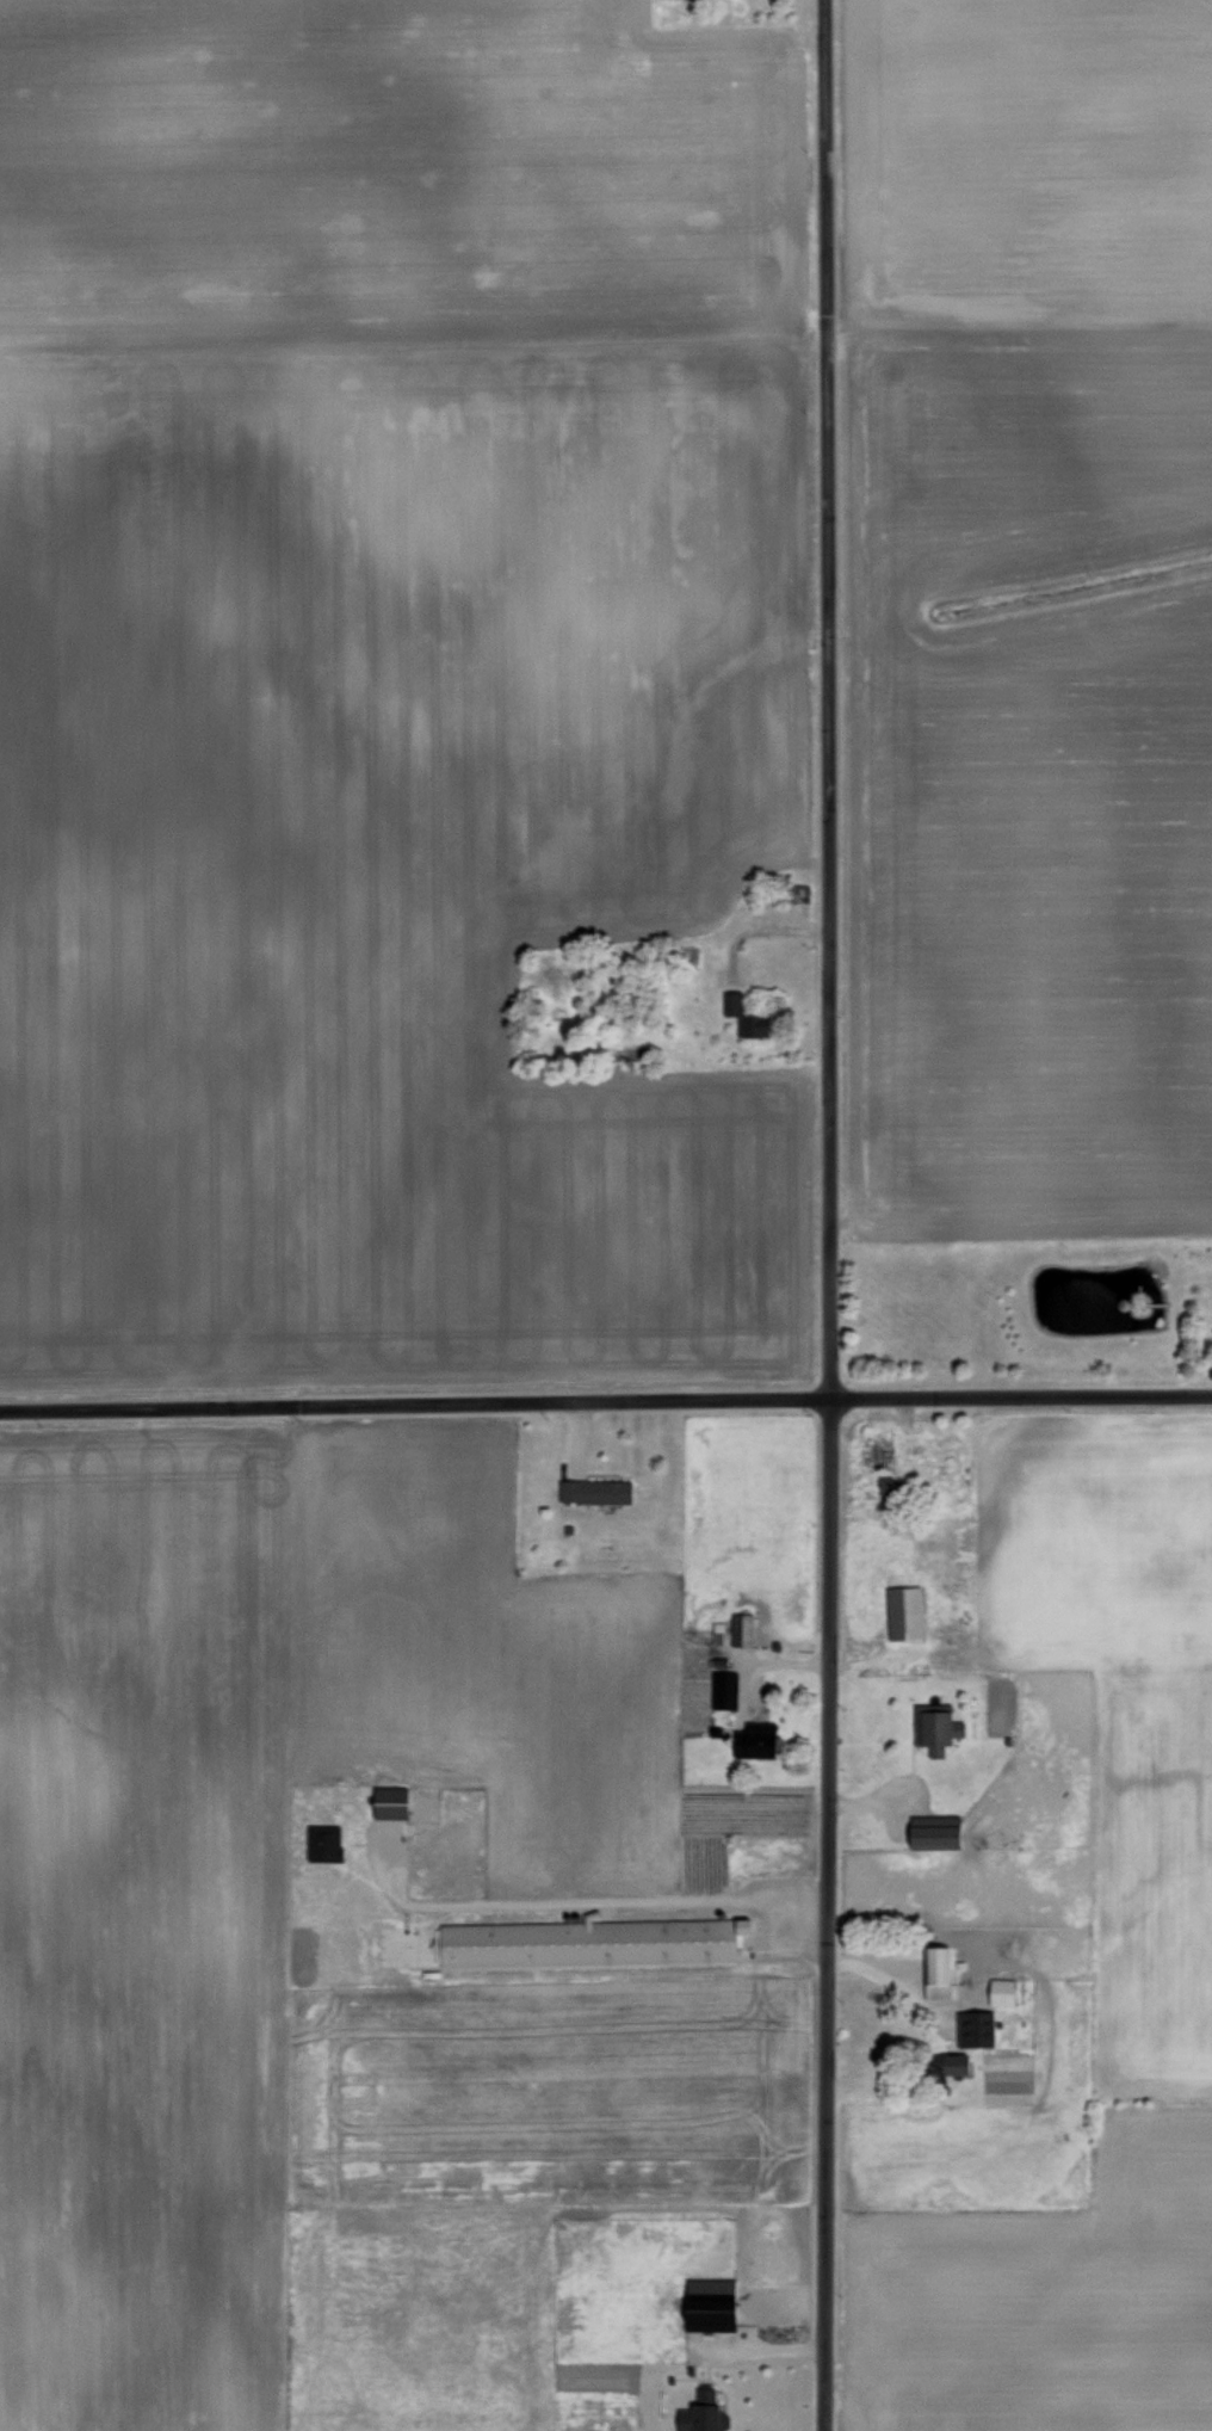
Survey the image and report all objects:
building: (735, 1014)
road: (825, 1215)
road: (605, 1402)
building: (598, 1489)
building: (908, 1611)
building: (743, 1628)
building: (719, 1631)
building: (724, 1690)
building: (938, 1728)
building: (761, 1738)
building: (394, 1802)
building: (938, 1832)
building: (327, 1841)
road: (574, 1898)
building: (589, 1942)
building: (940, 1970)
building: (1006, 1991)
building: (964, 2067)
building: (718, 2318)
building: (704, 2412)

